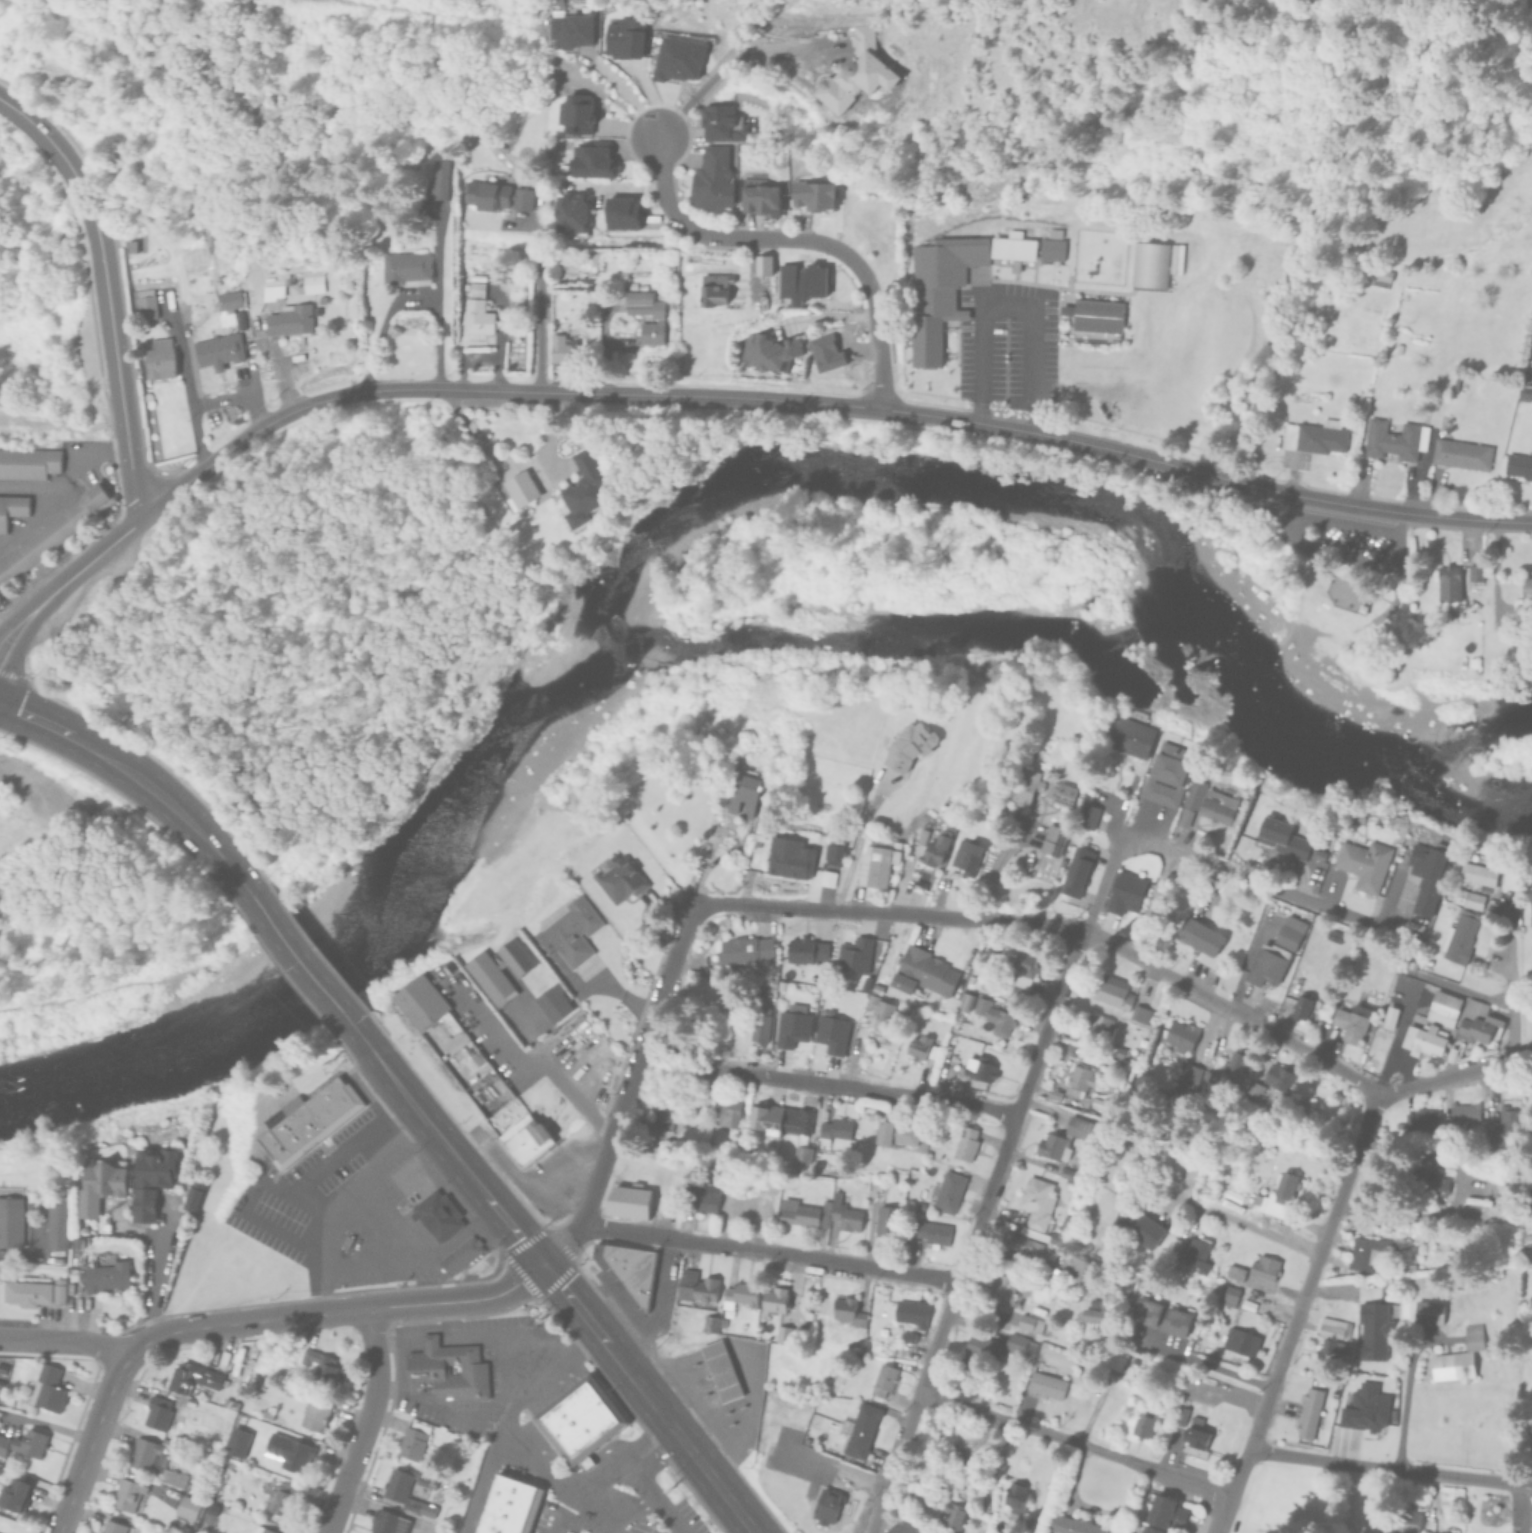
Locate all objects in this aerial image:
building: (624, 37)
building: (678, 58)
road: (725, 64)
building: (857, 73)
building: (576, 113)
building: (591, 160)
road: (67, 161)
building: (713, 178)
building: (439, 180)
building: (485, 195)
building: (814, 195)
building: (522, 198)
building: (761, 199)
building: (571, 213)
building: (623, 213)
road: (678, 217)
building: (1054, 233)
building: (1016, 244)
building: (1051, 249)
building: (763, 264)
building: (1148, 264)
building: (405, 267)
building: (1380, 274)
building: (1380, 280)
building: (312, 281)
road: (866, 281)
building: (715, 288)
building: (475, 289)
building: (272, 291)
building: (939, 292)
road: (537, 299)
building: (145, 305)
road: (1010, 311)
building: (646, 315)
building: (1097, 315)
building: (477, 317)
building: (290, 320)
building: (221, 337)
building: (561, 348)
building: (769, 351)
building: (160, 359)
road: (118, 382)
building: (1524, 392)
road: (850, 403)
building: (1313, 437)
building: (1393, 439)
building: (1460, 454)
building: (29, 463)
building: (1518, 466)
road: (65, 473)
building: (520, 489)
building: (583, 489)
river: (699, 498)
building: (12, 509)
road: (1345, 523)
building: (58, 531)
road: (1344, 554)
road: (88, 561)
road: (1348, 566)
building: (1474, 574)
building: (1447, 582)
building: (1526, 589)
road: (1370, 592)
road: (1397, 594)
park: (1325, 609)
building: (1127, 733)
building: (907, 745)
road: (123, 770)
building: (1165, 774)
building: (1032, 775)
building: (741, 793)
building: (1060, 793)
park: (664, 797)
building: (1205, 803)
building: (1085, 816)
road: (719, 833)
building: (1052, 835)
building: (921, 836)
building: (1280, 837)
road: (856, 846)
building: (934, 846)
building: (832, 851)
building: (1317, 855)
building: (964, 856)
building: (787, 858)
building: (875, 861)
road: (1204, 863)
building: (1362, 864)
building: (1477, 868)
building: (1074, 872)
building: (1426, 875)
building: (617, 878)
building: (825, 878)
building: (1123, 893)
building: (1470, 900)
building: (1530, 902)
building: (568, 929)
building: (1288, 933)
building: (1198, 936)
building: (1458, 937)
building: (802, 950)
building: (739, 951)
building: (858, 955)
road: (1129, 956)
road: (296, 959)
building: (1265, 965)
building: (924, 970)
building: (499, 971)
building: (1015, 971)
building: (874, 989)
building: (1112, 991)
road: (1512, 995)
building: (963, 1001)
building: (1295, 1006)
park: (35, 1009)
building: (1441, 1009)
building: (903, 1011)
building: (878, 1014)
building: (1139, 1014)
building: (992, 1016)
building: (1387, 1017)
building: (1475, 1021)
building: (1349, 1022)
building: (1095, 1024)
building: (757, 1025)
building: (790, 1029)
building: (832, 1033)
building: (1179, 1036)
building: (1422, 1040)
building: (916, 1047)
building: (453, 1048)
building: (1113, 1051)
building: (1107, 1058)
building: (944, 1062)
building: (1236, 1065)
road: (528, 1068)
building: (977, 1069)
building: (1188, 1076)
building: (1078, 1077)
building: (1276, 1077)
building: (1206, 1080)
road: (829, 1084)
building: (1253, 1089)
road: (627, 1092)
building: (1067, 1100)
building: (1096, 1104)
building: (661, 1106)
building: (1463, 1113)
building: (726, 1114)
building: (777, 1118)
building: (1420, 1120)
building: (305, 1122)
building: (1505, 1125)
building: (833, 1130)
building: (897, 1132)
building: (526, 1138)
building: (1062, 1138)
building: (1268, 1138)
building: (964, 1143)
building: (800, 1153)
building: (1064, 1173)
building: (154, 1180)
road: (261, 1180)
building: (1423, 1183)
building: (100, 1184)
building: (875, 1189)
building: (944, 1192)
building: (193, 1194)
building: (424, 1195)
building: (1276, 1195)
building: (705, 1197)
road: (312, 1200)
building: (626, 1200)
building: (737, 1202)
building: (1035, 1203)
road: (334, 1209)
building: (801, 1213)
building: (843, 1213)
road: (981, 1214)
building: (11, 1217)
building: (884, 1221)
building: (56, 1223)
building: (1136, 1225)
road: (395, 1226)
building: (830, 1226)
road: (1256, 1227)
building: (1049, 1232)
building: (931, 1234)
building: (77, 1243)
building: (1019, 1244)
building: (1174, 1249)
road: (17, 1253)
road: (769, 1253)
building: (1368, 1253)
building: (460, 1254)
building: (1196, 1254)
traffic signals: (539, 1264)
building: (1263, 1267)
building: (1077, 1268)
road: (156, 1270)
building: (631, 1272)
building: (1233, 1272)
building: (106, 1274)
building: (694, 1286)
building: (1000, 1288)
building: (28, 1291)
building: (59, 1291)
road: (561, 1292)
building: (1111, 1292)
road: (1305, 1292)
building: (1227, 1293)
building: (738, 1294)
building: (772, 1298)
road: (459, 1303)
building: (1094, 1303)
building: (1246, 1305)
building: (846, 1310)
building: (1143, 1311)
building: (909, 1312)
building: (1426, 1312)
building: (1089, 1316)
building: (1174, 1319)
building: (1028, 1323)
road: (243, 1324)
building: (709, 1324)
building: (1374, 1330)
building: (781, 1333)
road: (429, 1337)
road: (445, 1337)
building: (906, 1337)
building: (1471, 1337)
road: (394, 1339)
building: (1237, 1340)
building: (1330, 1341)
road: (64, 1343)
building: (1018, 1345)
building: (835, 1347)
building: (977, 1351)
building: (1115, 1357)
road: (1205, 1363)
building: (320, 1365)
building: (1451, 1366)
building: (447, 1367)
building: (342, 1371)
building: (721, 1372)
building: (192, 1377)
building: (881, 1379)
building: (1044, 1381)
building: (47, 1389)
road: (496, 1389)
road: (1405, 1392)
building: (6, 1399)
building: (1365, 1407)
building: (1162, 1408)
building: (1308, 1412)
building: (156, 1413)
building: (316, 1413)
building: (266, 1415)
building: (1179, 1415)
road: (506, 1418)
building: (579, 1421)
road: (363, 1423)
building: (1141, 1424)
building: (941, 1428)
building: (857, 1430)
building: (1196, 1437)
building: (411, 1440)
road: (1073, 1440)
building: (30, 1443)
building: (239, 1443)
building: (3, 1445)
road: (91, 1446)
building: (1530, 1446)
building: (287, 1453)
building: (147, 1454)
road: (533, 1466)
road: (1389, 1467)
road: (841, 1469)
road: (600, 1470)
building: (172, 1479)
building: (404, 1489)
road: (652, 1493)
building: (14, 1495)
building: (128, 1496)
building: (1013, 1498)
building: (282, 1500)
building: (828, 1504)
building: (186, 1507)
building: (508, 1508)
building: (211, 1509)
building: (1162, 1512)
road: (1222, 1512)
road: (629, 1514)
road: (875, 1514)
building: (951, 1516)
parking lot: (614, 1517)
building: (445, 1518)
building: (1408, 1521)
building: (385, 1522)
building: (207, 1524)
building: (1071, 1525)
building: (114, 1528)
building: (183, 1529)
building: (1145, 1529)
building: (262, 1530)
building: (1449, 1530)
building: (98, 1532)
building: (1424, 1532)

